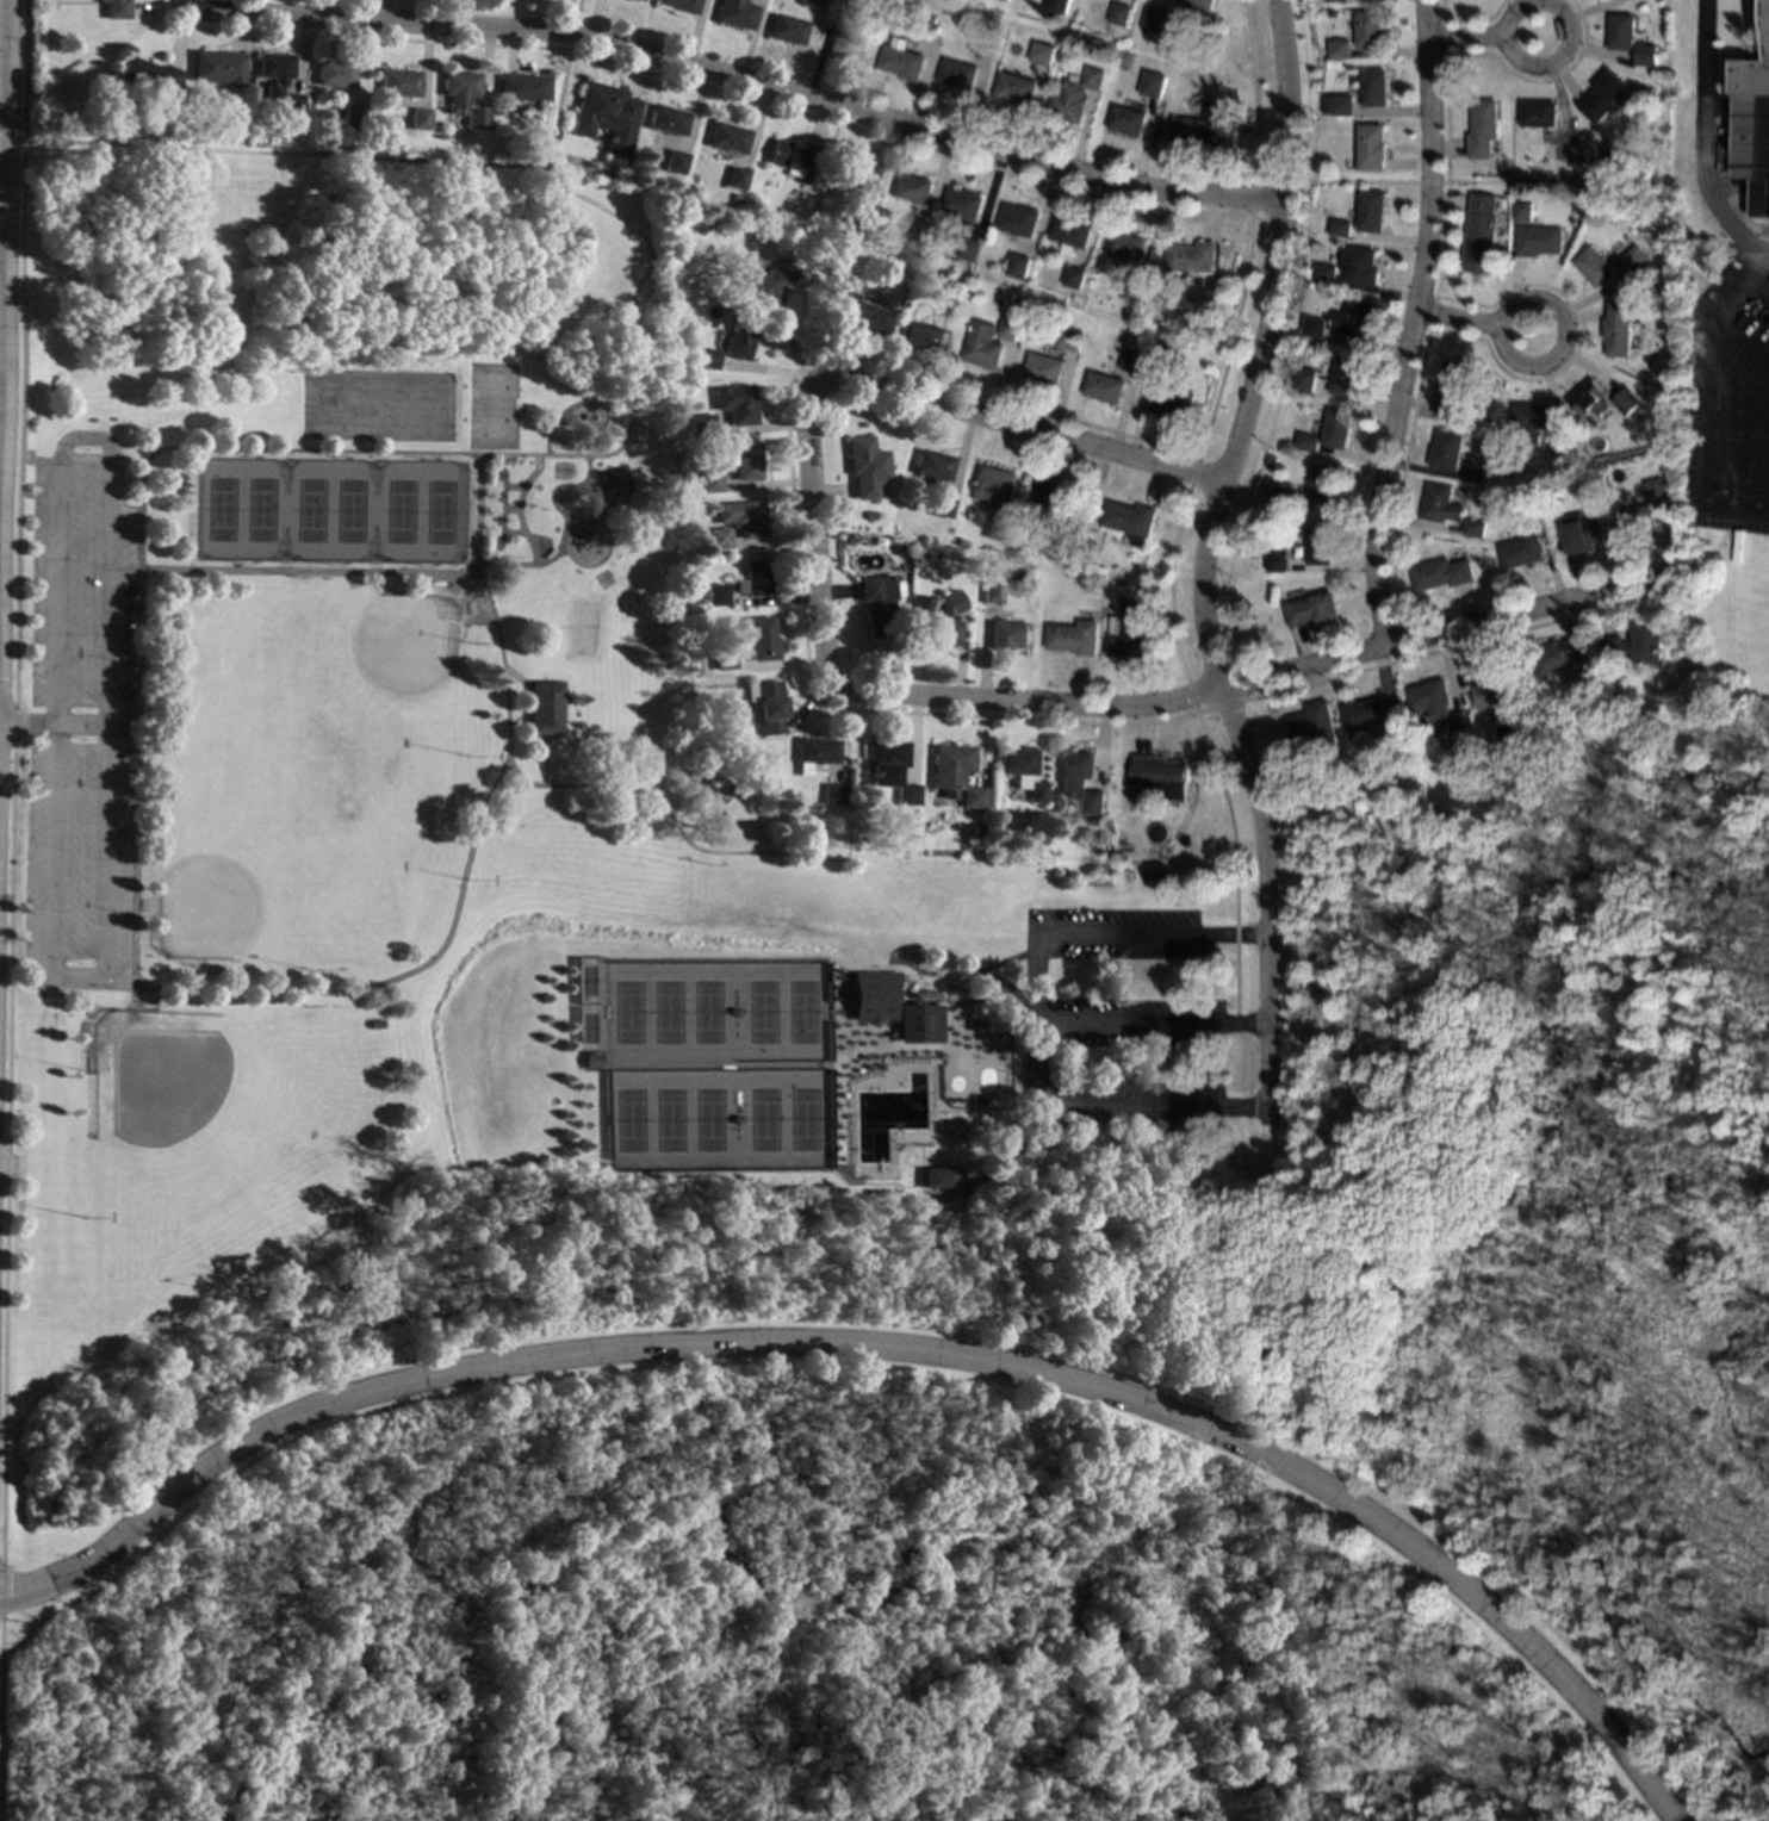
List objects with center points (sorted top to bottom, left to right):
building: (635, 0)
building: (1334, 0)
road: (180, 2)
building: (809, 2)
building: (1059, 2)
building: (1200, 4)
building: (679, 6)
building: (1644, 7)
building: (113, 8)
building: (1119, 13)
building: (734, 14)
building: (1159, 20)
road: (0, 23)
building: (1368, 29)
building: (786, 30)
building: (1621, 31)
building: (919, 32)
road: (1483, 39)
building: (981, 42)
building: (846, 48)
building: (1340, 49)
building: (1041, 52)
building: (1643, 56)
building: (901, 62)
building: (216, 68)
building: (273, 73)
building: (956, 73)
building: (334, 74)
building: (148, 75)
road: (732, 80)
building: (398, 83)
road: (560, 83)
building: (520, 87)
building: (1374, 87)
building: (1014, 88)
building: (1757, 93)
building: (1074, 95)
building: (1152, 95)
building: (1604, 95)
building: (461, 98)
building: (291, 104)
building: (1342, 105)
building: (1539, 113)
building: (350, 116)
building: (603, 117)
building: (418, 119)
building: (665, 120)
building: (1125, 120)
building: (1204, 128)
building: (1483, 129)
building: (726, 138)
building: (1566, 144)
building: (1371, 147)
building: (1719, 156)
building: (790, 157)
building: (1582, 159)
building: (672, 162)
building: (857, 170)
building: (610, 172)
building: (734, 178)
road: (1256, 180)
road: (1355, 181)
road: (1430, 181)
road: (1608, 182)
building: (913, 187)
building: (962, 203)
building: (1371, 211)
building: (1522, 211)
building: (864, 215)
building: (1018, 219)
building: (910, 225)
building: (855, 228)
building: (1340, 228)
building: (1070, 231)
building: (1481, 232)
building: (1540, 241)
road: (1744, 243)
road: (805, 244)
building: (1125, 246)
building: (969, 248)
building: (1192, 257)
building: (1635, 261)
building: (1019, 265)
building: (1360, 266)
building: (1594, 266)
building: (1324, 274)
building: (1074, 276)
road: (1739, 279)
building: (765, 285)
building: (1131, 287)
building: (858, 316)
building: (1354, 318)
building: (672, 319)
road: (1475, 322)
road: (1414, 323)
building: (1314, 327)
building: (1621, 327)
building: (1007, 330)
building: (924, 337)
building: (1069, 337)
building: (739, 341)
building: (982, 346)
building: (1163, 356)
building: (706, 359)
building: (1131, 360)
building: (1043, 368)
building: (1343, 374)
building: (1305, 380)
building: (1104, 387)
building: (1451, 387)
building: (1591, 398)
parking lot: (1730, 398)
building: (1173, 400)
building: (1628, 400)
building: (735, 404)
park: (489, 408)
building: (1532, 419)
building: (702, 424)
building: (1335, 427)
building: (1557, 434)
building: (1570, 439)
road: (82, 440)
building: (1309, 442)
building: (1446, 449)
road: (550, 455)
building: (747, 462)
building: (933, 467)
building: (864, 468)
road: (1193, 468)
building: (1472, 473)
building: (709, 481)
building: (1322, 483)
building: (994, 485)
building: (1655, 487)
building: (1054, 493)
building: (1283, 493)
building: (1500, 502)
building: (1440, 504)
building: (942, 506)
park: (323, 512)
building: (870, 516)
building: (743, 517)
building: (1130, 520)
building: (1634, 520)
road: (793, 526)
building: (1473, 527)
building: (999, 529)
building: (1069, 533)
building: (1582, 533)
building: (701, 539)
building: (718, 539)
building: (851, 539)
building: (1318, 545)
road: (1200, 552)
building: (1520, 552)
building: (1277, 563)
road: (287, 571)
road: (15, 572)
building: (1440, 573)
building: (753, 579)
road: (1168, 583)
building: (993, 592)
building: (715, 595)
building: (876, 604)
building: (1312, 609)
building: (1275, 619)
building: (944, 622)
park: (578, 628)
building: (1129, 629)
building: (1008, 635)
building: (1074, 635)
building: (761, 639)
building: (1635, 645)
building: (1562, 654)
building: (722, 658)
park: (371, 671)
building: (1496, 692)
road: (884, 696)
road: (1191, 697)
building: (1432, 698)
road: (1225, 703)
building: (765, 706)
building: (542, 708)
building: (1365, 713)
building: (1419, 715)
building: (1525, 715)
road: (25, 722)
road: (77, 726)
parking lot: (77, 727)
building: (1316, 728)
building: (812, 753)
building: (884, 753)
building: (1546, 760)
building: (1016, 764)
building: (954, 773)
building: (1161, 776)
building: (1080, 779)
building: (1365, 779)
park: (460, 789)
building: (1034, 793)
building: (831, 794)
building: (905, 795)
building: (1097, 820)
road: (46, 851)
road: (103, 852)
road: (467, 857)
road: (734, 857)
park: (236, 877)
road: (72, 977)
road: (114, 987)
building: (873, 996)
park: (1532, 1006)
road: (1035, 1014)
parking lot: (1122, 1014)
building: (918, 1023)
building: (979, 1025)
road: (1152, 1025)
building: (591, 1061)
park: (713, 1068)
park: (181, 1118)
road: (2, 1143)
building: (938, 1177)
road: (2, 1285)
road: (886, 1348)
park: (921, 1523)

